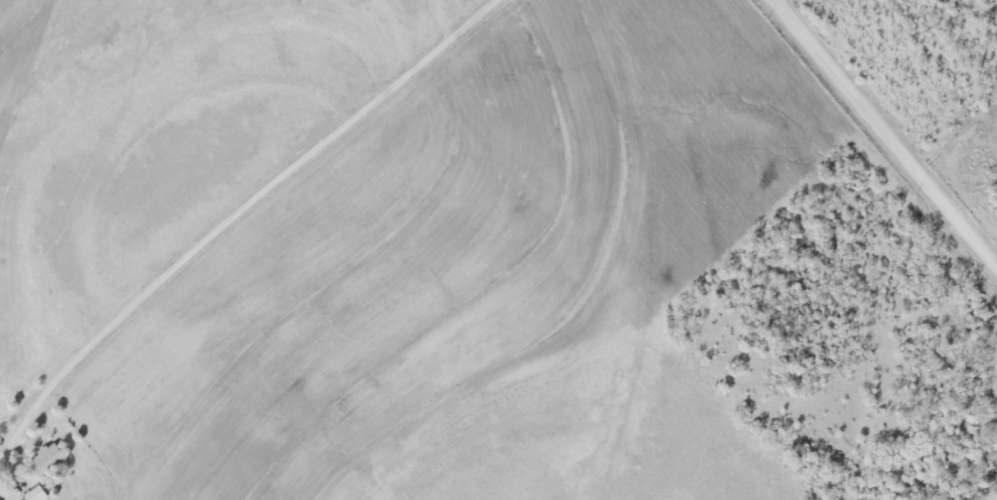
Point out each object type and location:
road: (889, 128)
road: (232, 215)
building: (47, 459)
building: (36, 494)

